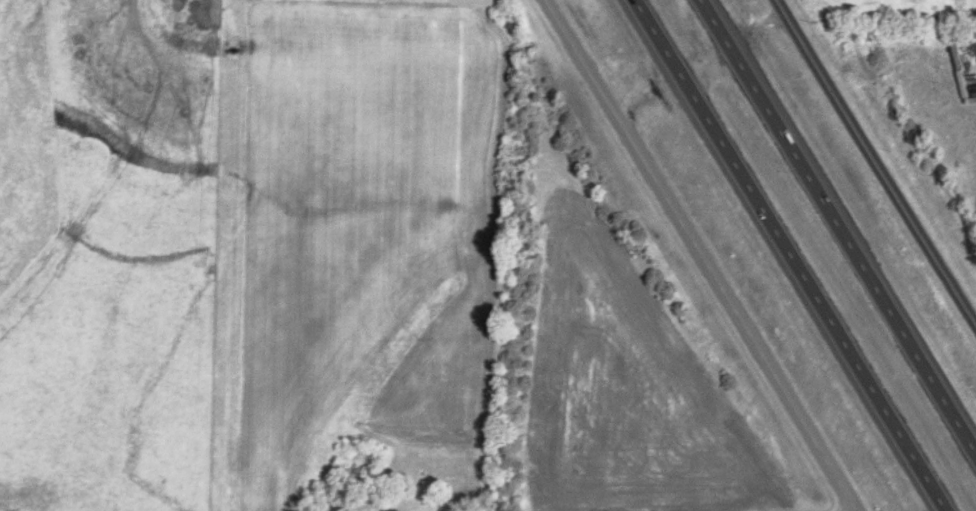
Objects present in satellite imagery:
road: (875, 162)
road: (840, 223)
road: (700, 255)
road: (785, 255)
road: (824, 508)

